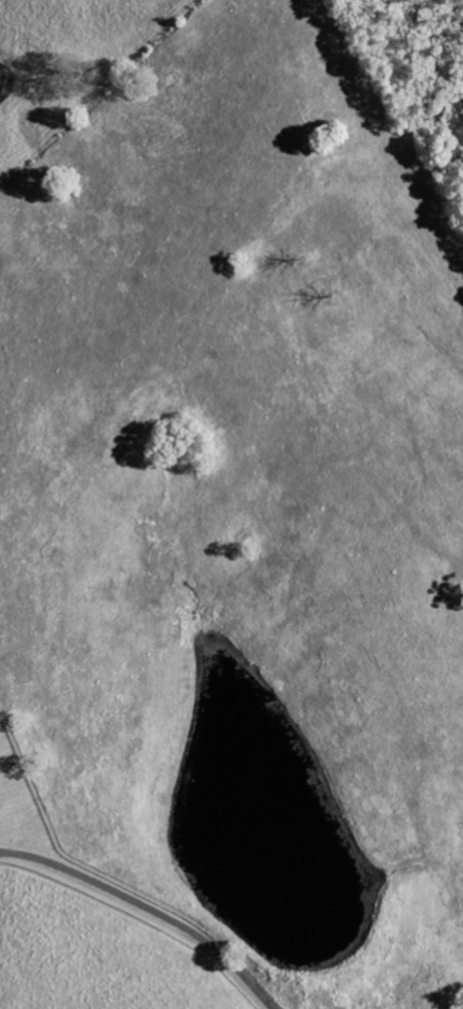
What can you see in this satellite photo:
road: (152, 909)

